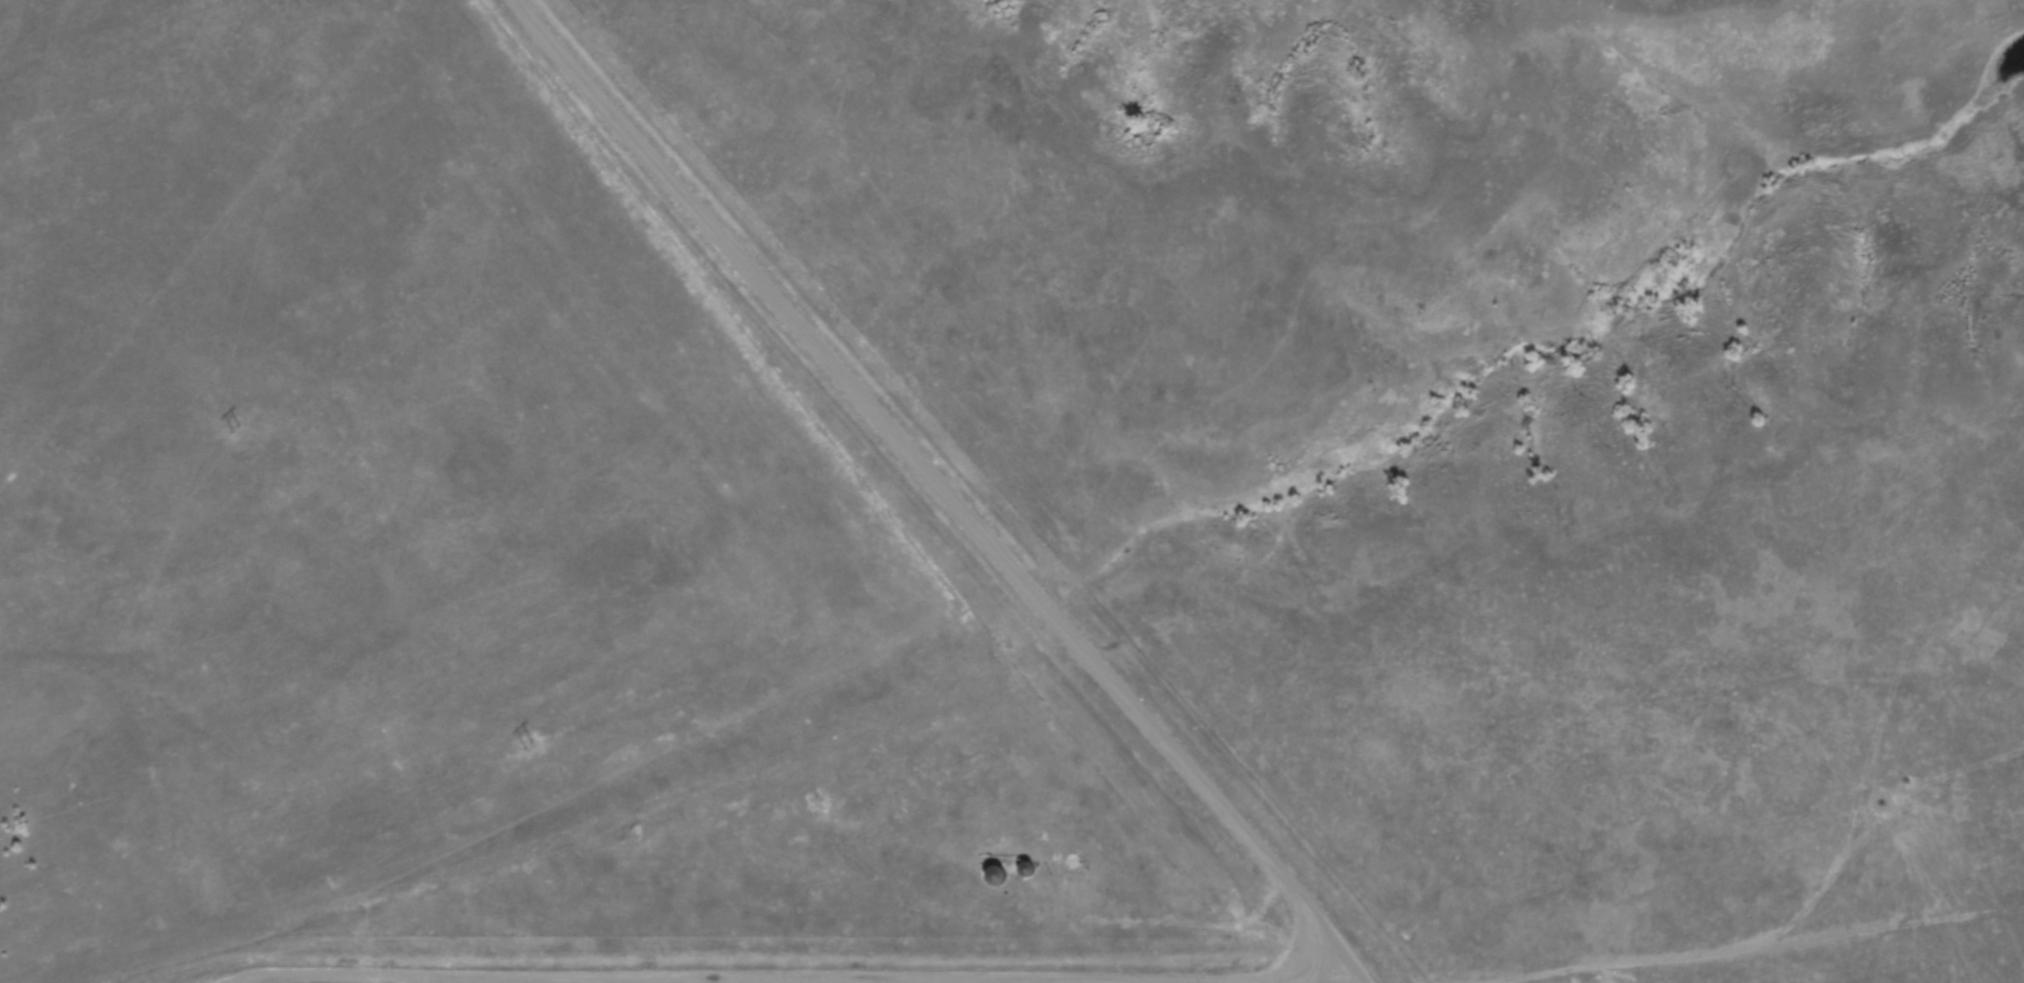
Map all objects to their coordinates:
power tower: (235, 432)
road: (942, 488)
power tower: (529, 748)

